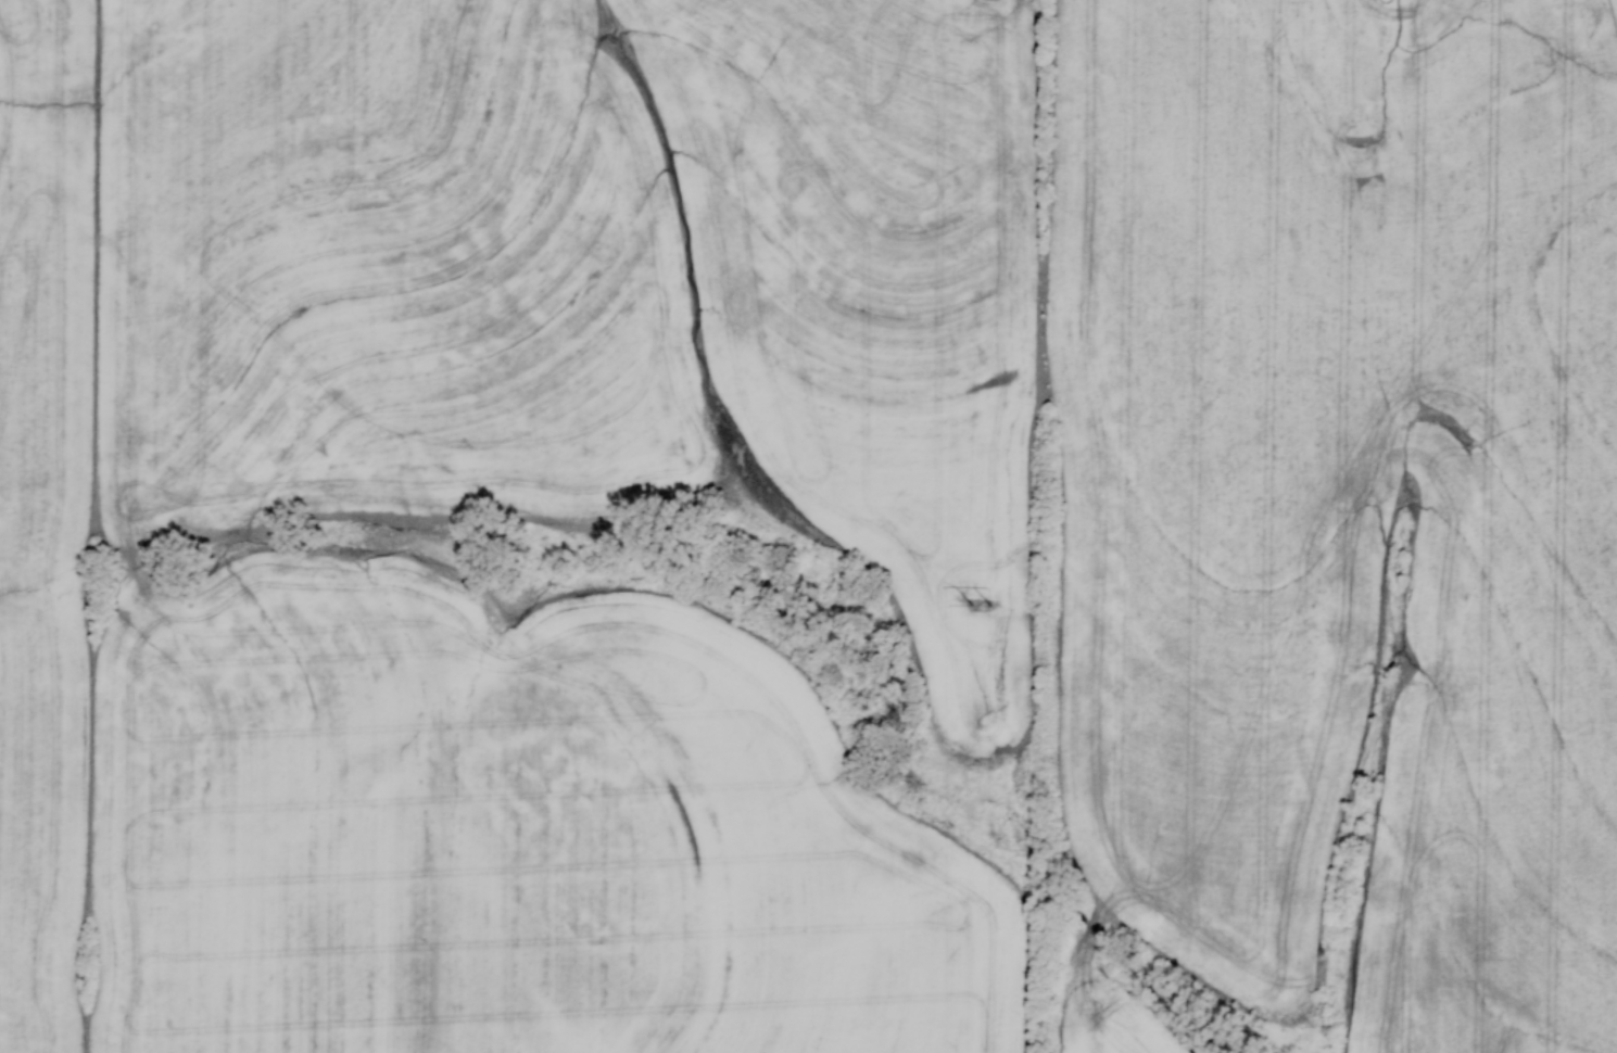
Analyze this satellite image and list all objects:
power tower: (987, 610)

